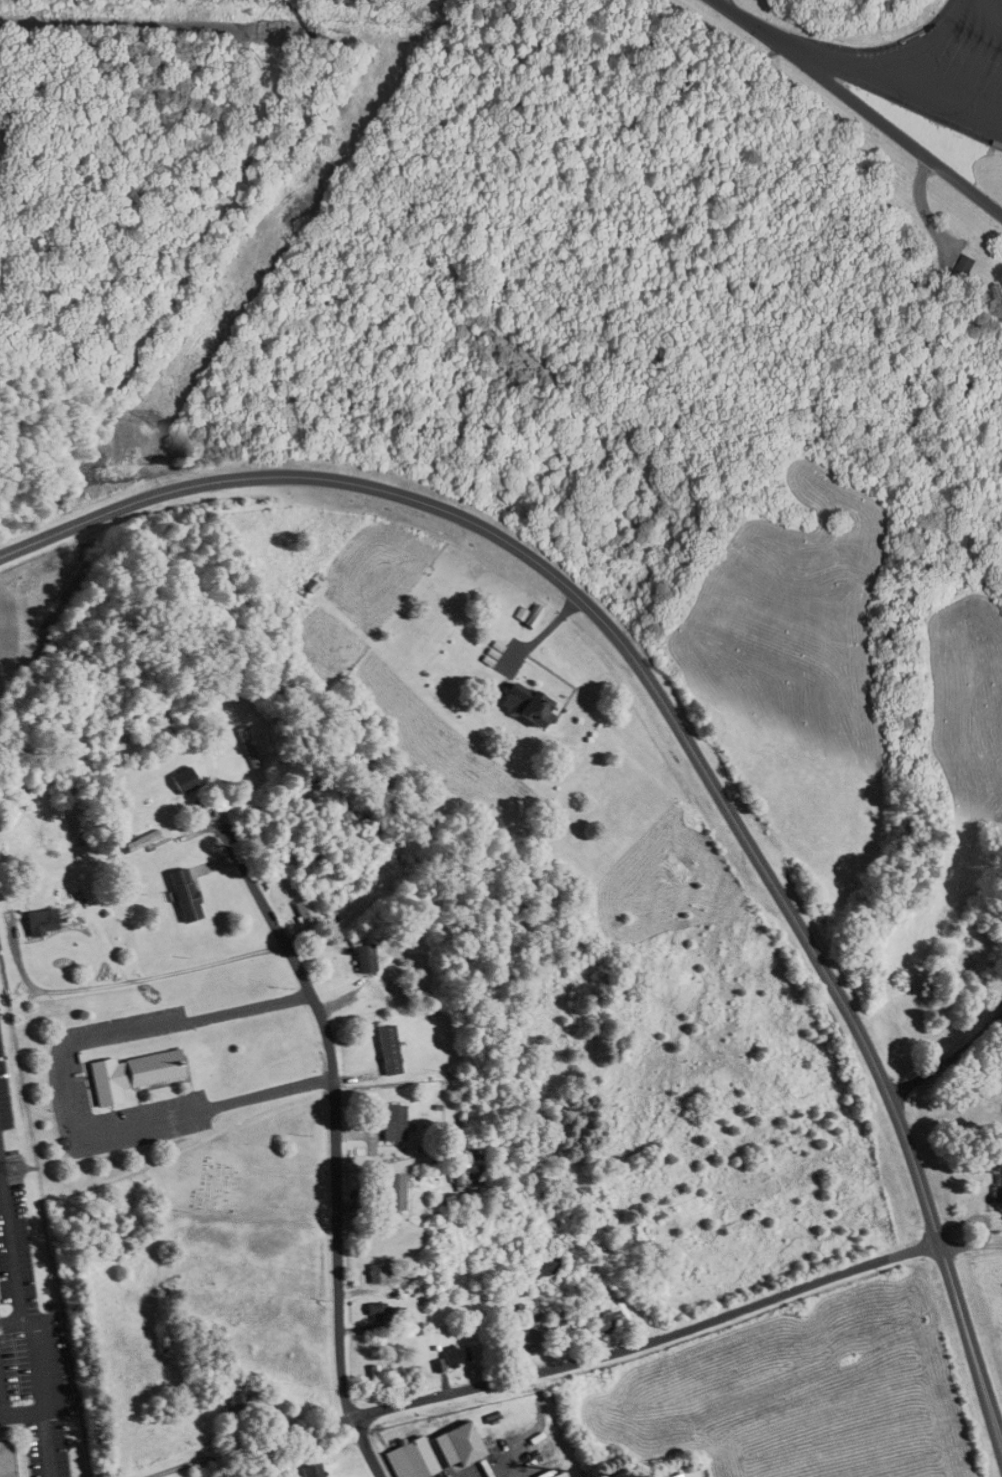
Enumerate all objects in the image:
road: (991, 8)
road: (748, 20)
parking lot: (934, 68)
road: (886, 70)
road: (933, 94)
road: (889, 129)
building: (964, 266)
building: (528, 615)
building: (524, 704)
road: (688, 730)
building: (181, 780)
building: (13, 782)
building: (138, 841)
building: (182, 895)
building: (38, 922)
building: (362, 959)
building: (387, 1050)
road: (945, 1063)
building: (130, 1074)
road: (71, 1094)
building: (392, 1122)
road: (337, 1142)
building: (472, 1170)
building: (998, 1181)
building: (391, 1191)
building: (544, 1266)
building: (378, 1272)
building: (377, 1311)
building: (603, 1321)
building: (523, 1338)
building: (454, 1355)
road: (577, 1359)
building: (380, 1372)
building: (432, 1451)
building: (6, 1459)
building: (309, 1470)

